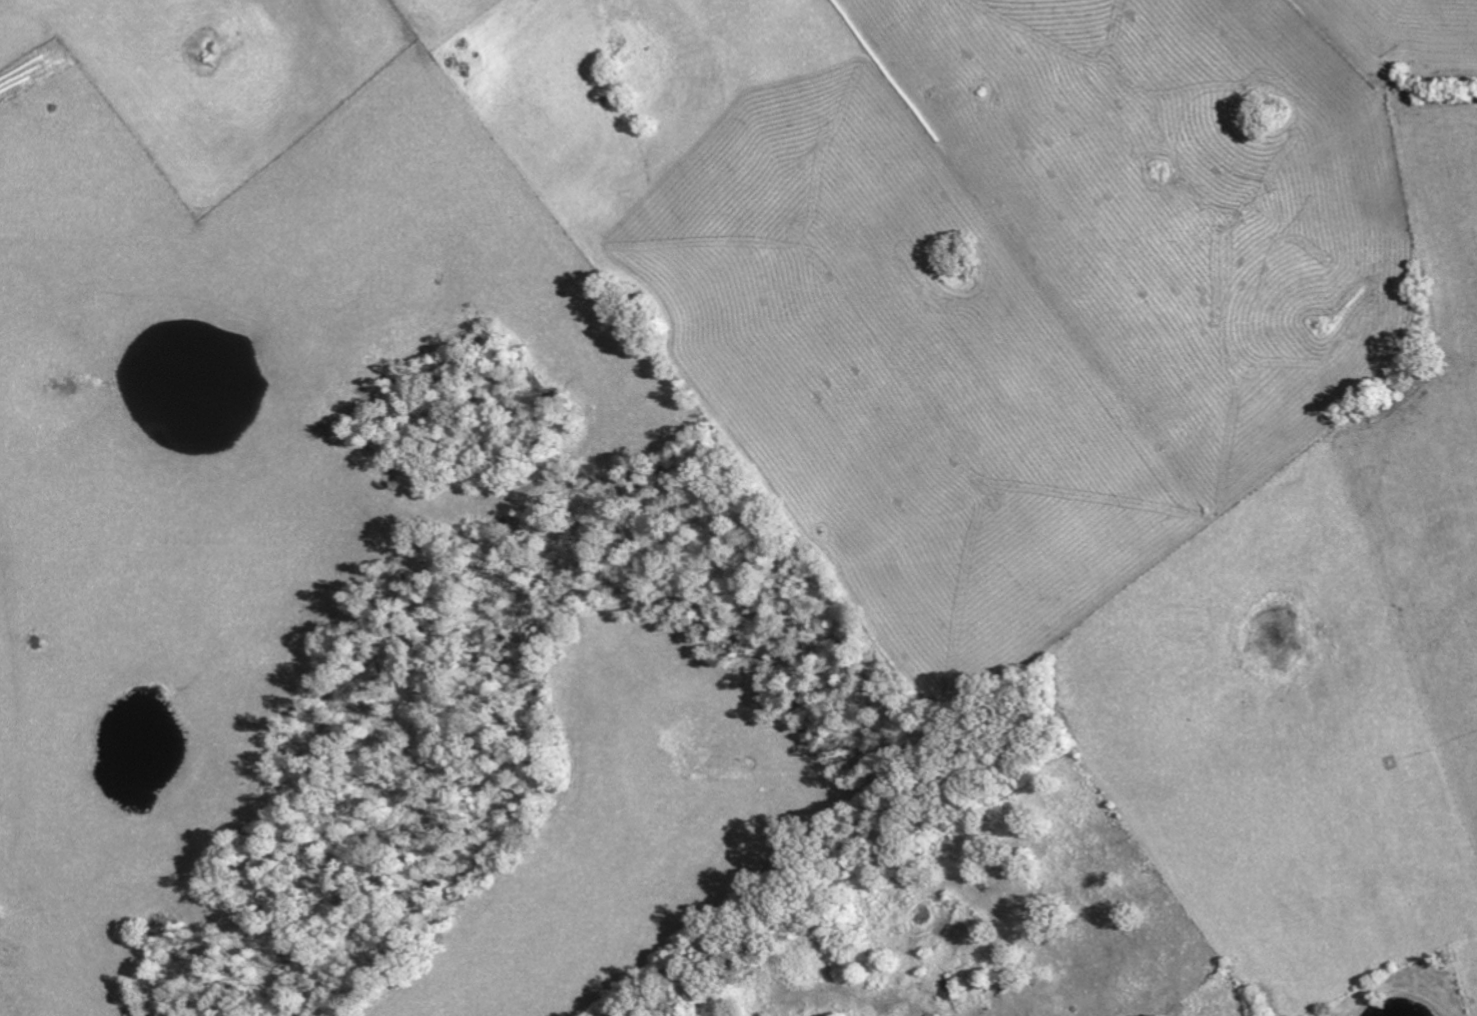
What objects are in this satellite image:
building: (933, 1015)

